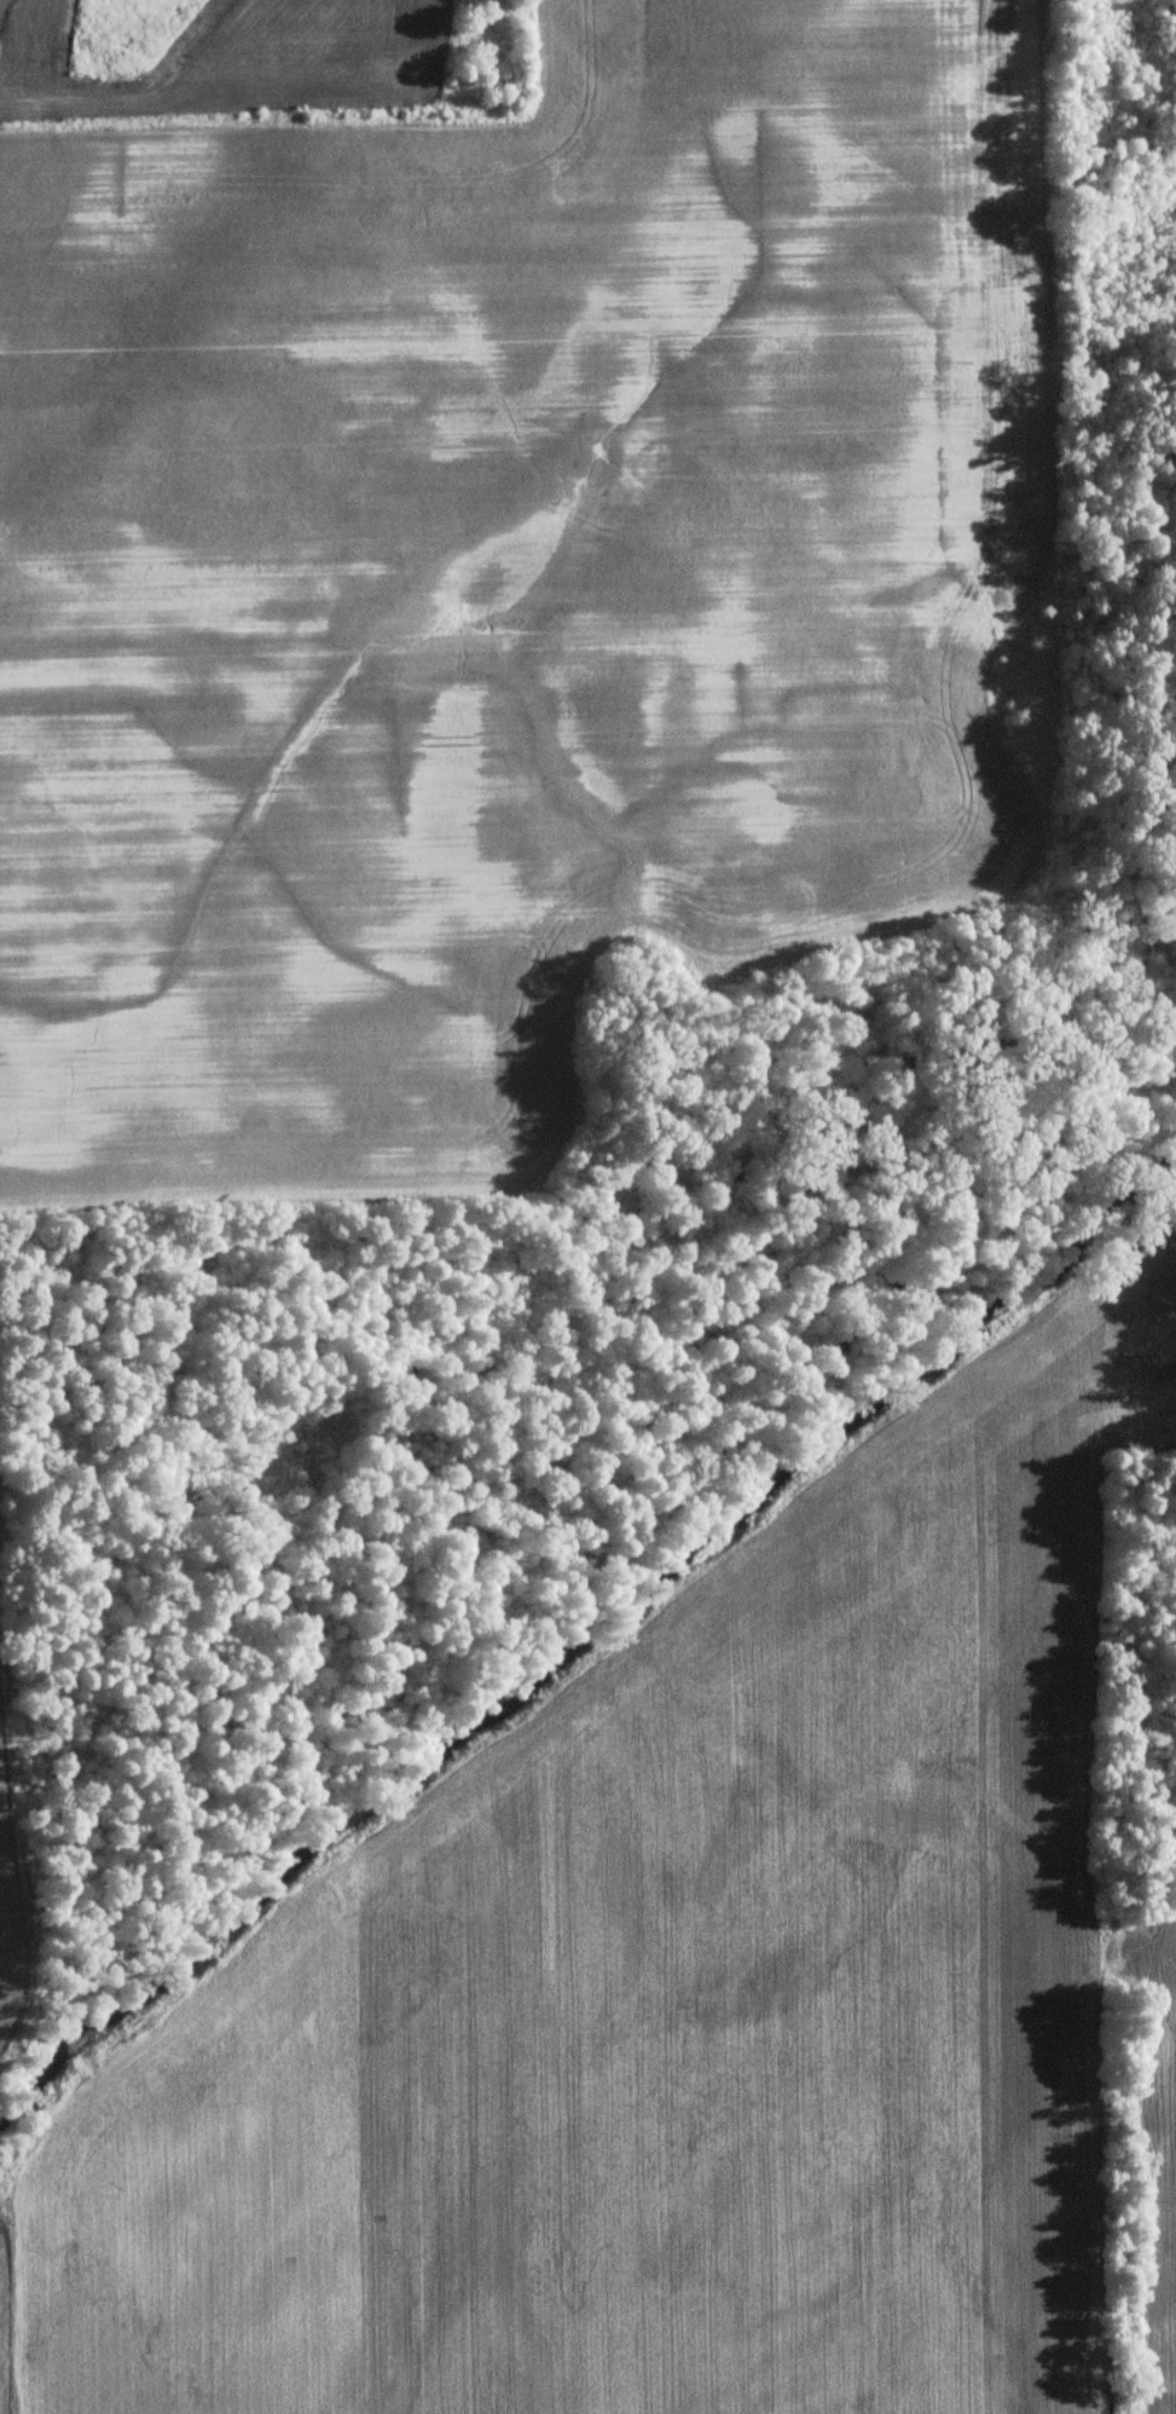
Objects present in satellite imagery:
river: (578, 1638)

